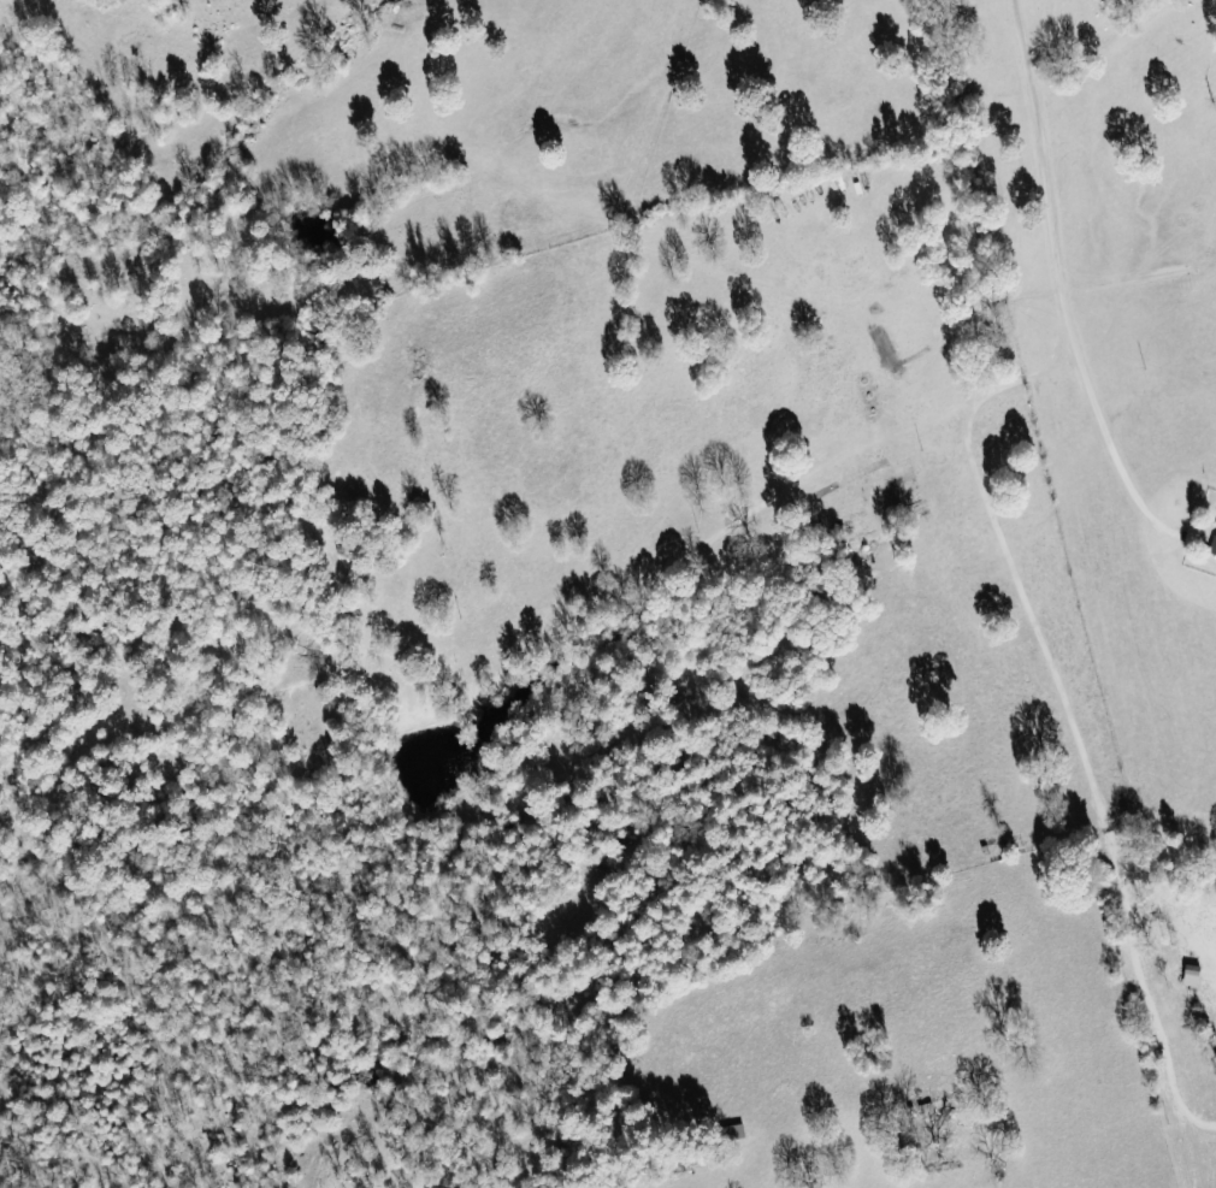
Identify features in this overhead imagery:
building: (1211, 549)
road: (1010, 951)
road: (1149, 964)
road: (1021, 986)

